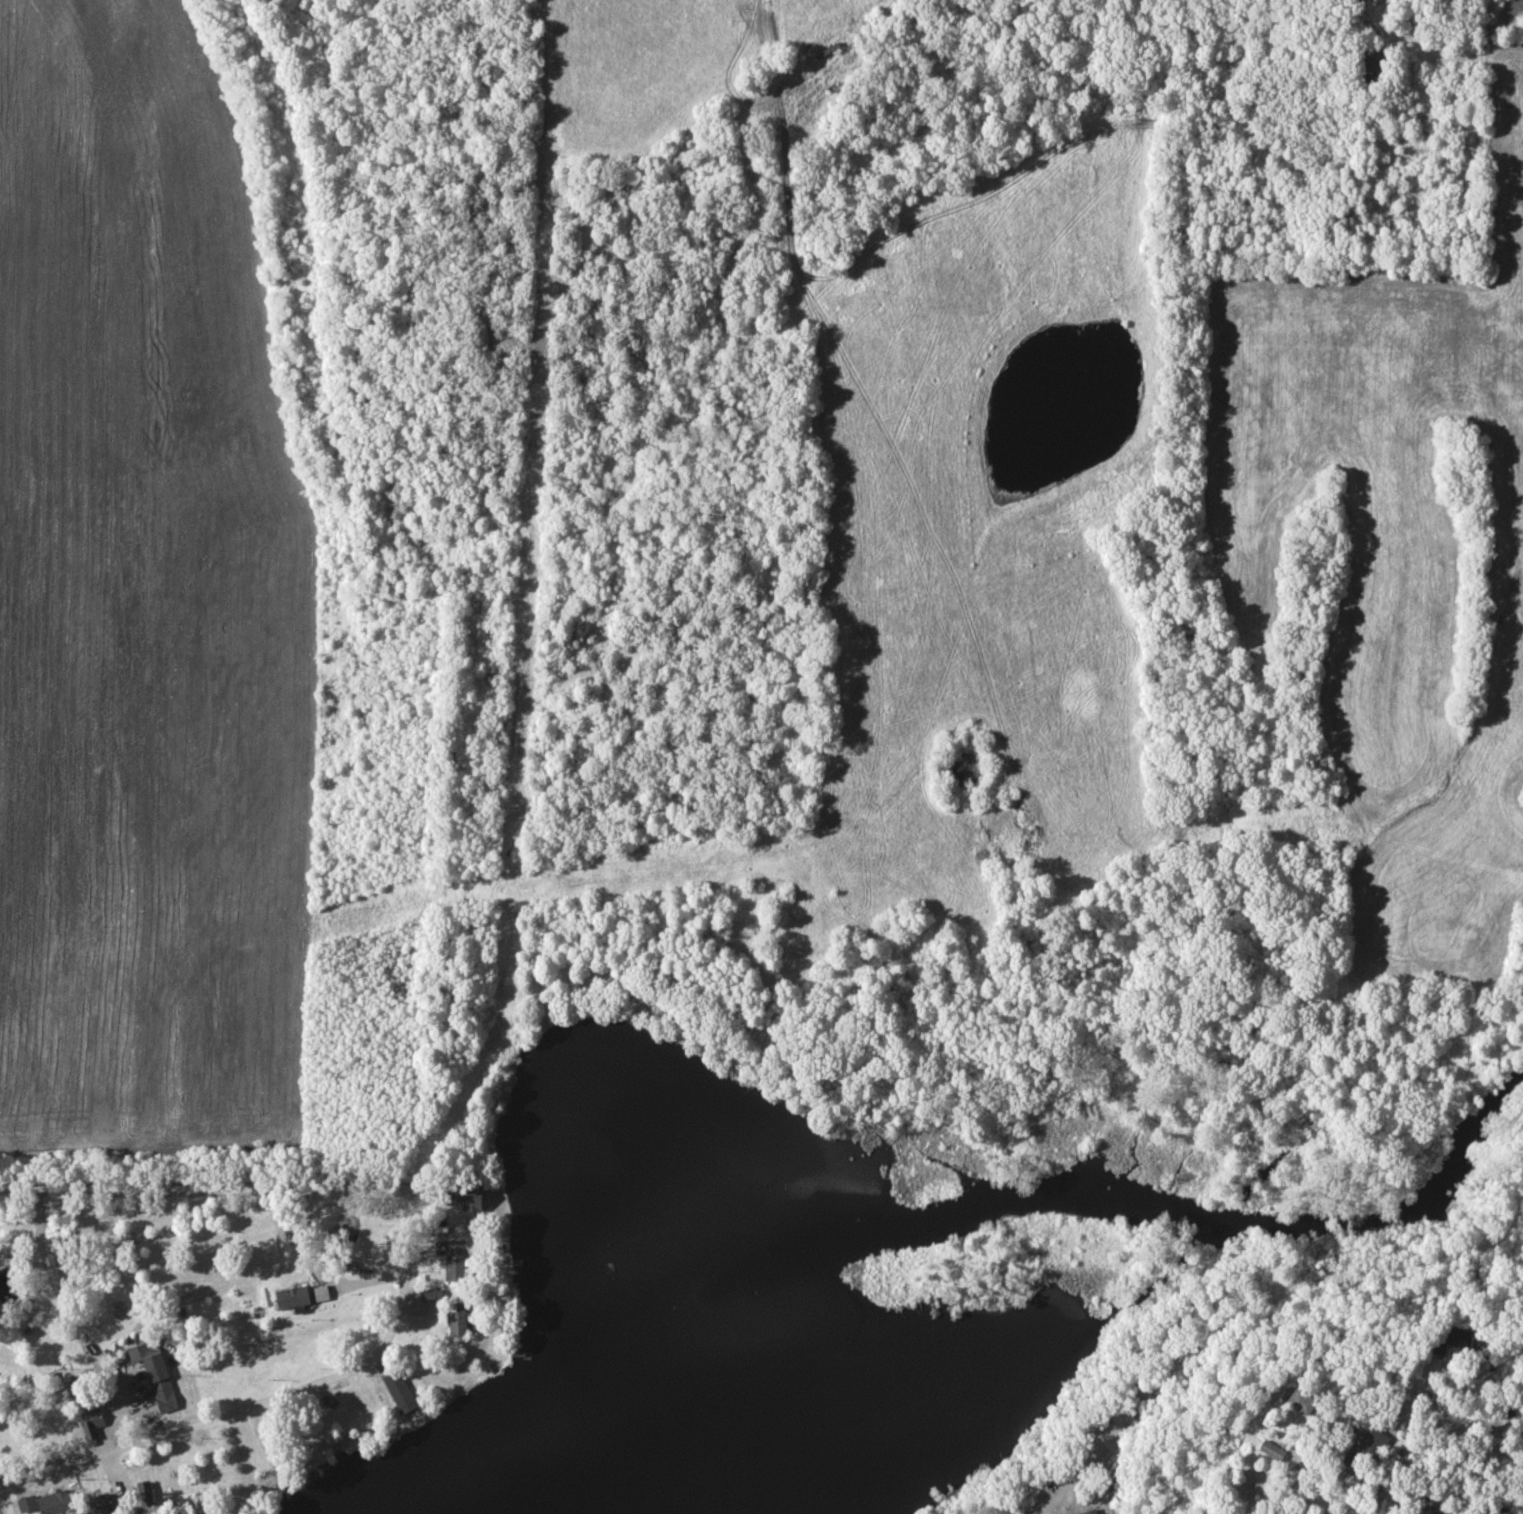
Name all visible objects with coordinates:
building: (830, 50)
road: (212, 1187)
building: (470, 1198)
building: (295, 1224)
building: (457, 1260)
building: (295, 1297)
building: (459, 1324)
road: (80, 1325)
building: (1462, 1340)
road: (1153, 1387)
road: (1387, 1390)
building: (402, 1392)
building: (166, 1396)
road: (266, 1403)
building: (1306, 1403)
building: (98, 1421)
building: (1367, 1450)
building: (1275, 1451)
building: (147, 1493)
building: (60, 1502)
building: (29, 1504)
building: (104, 1505)
building: (1094, 1513)
building: (1436, 1513)

